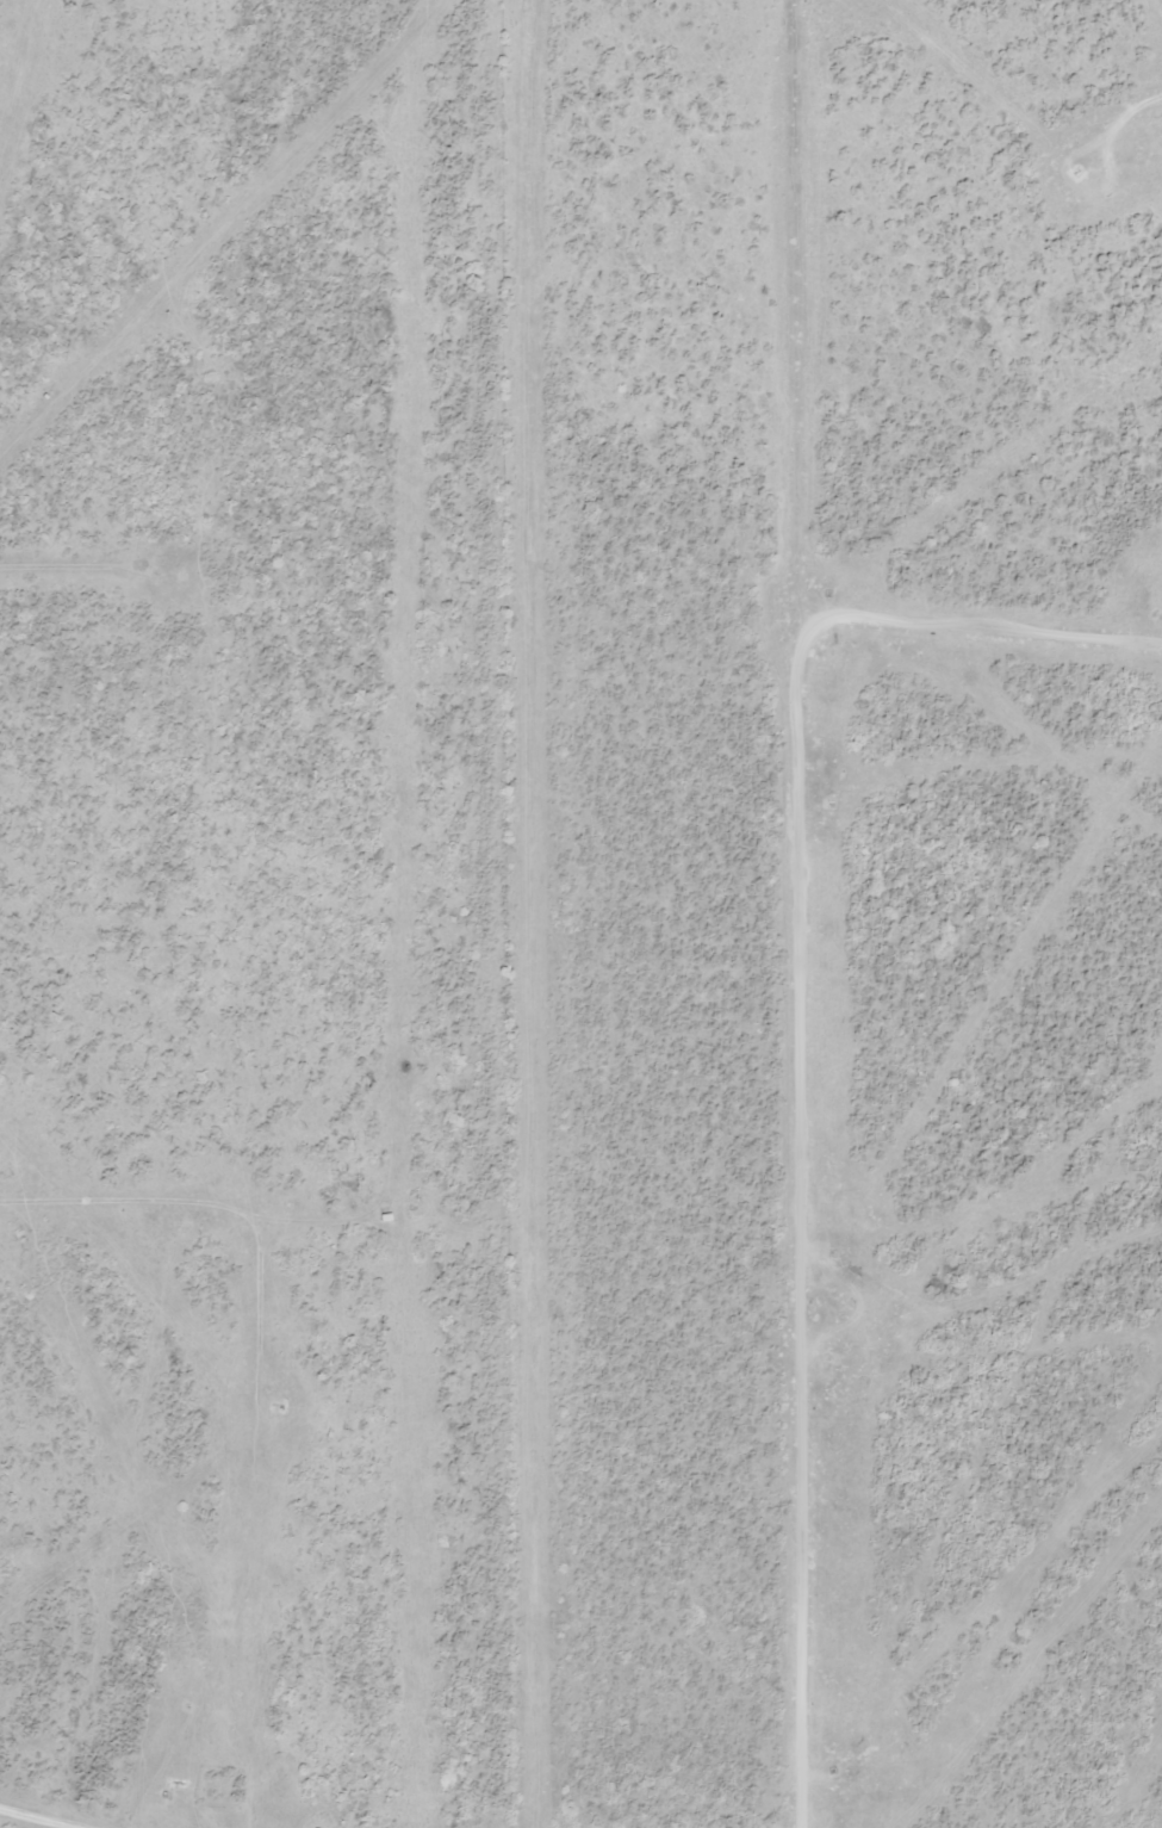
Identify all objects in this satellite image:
road: (802, 1049)

